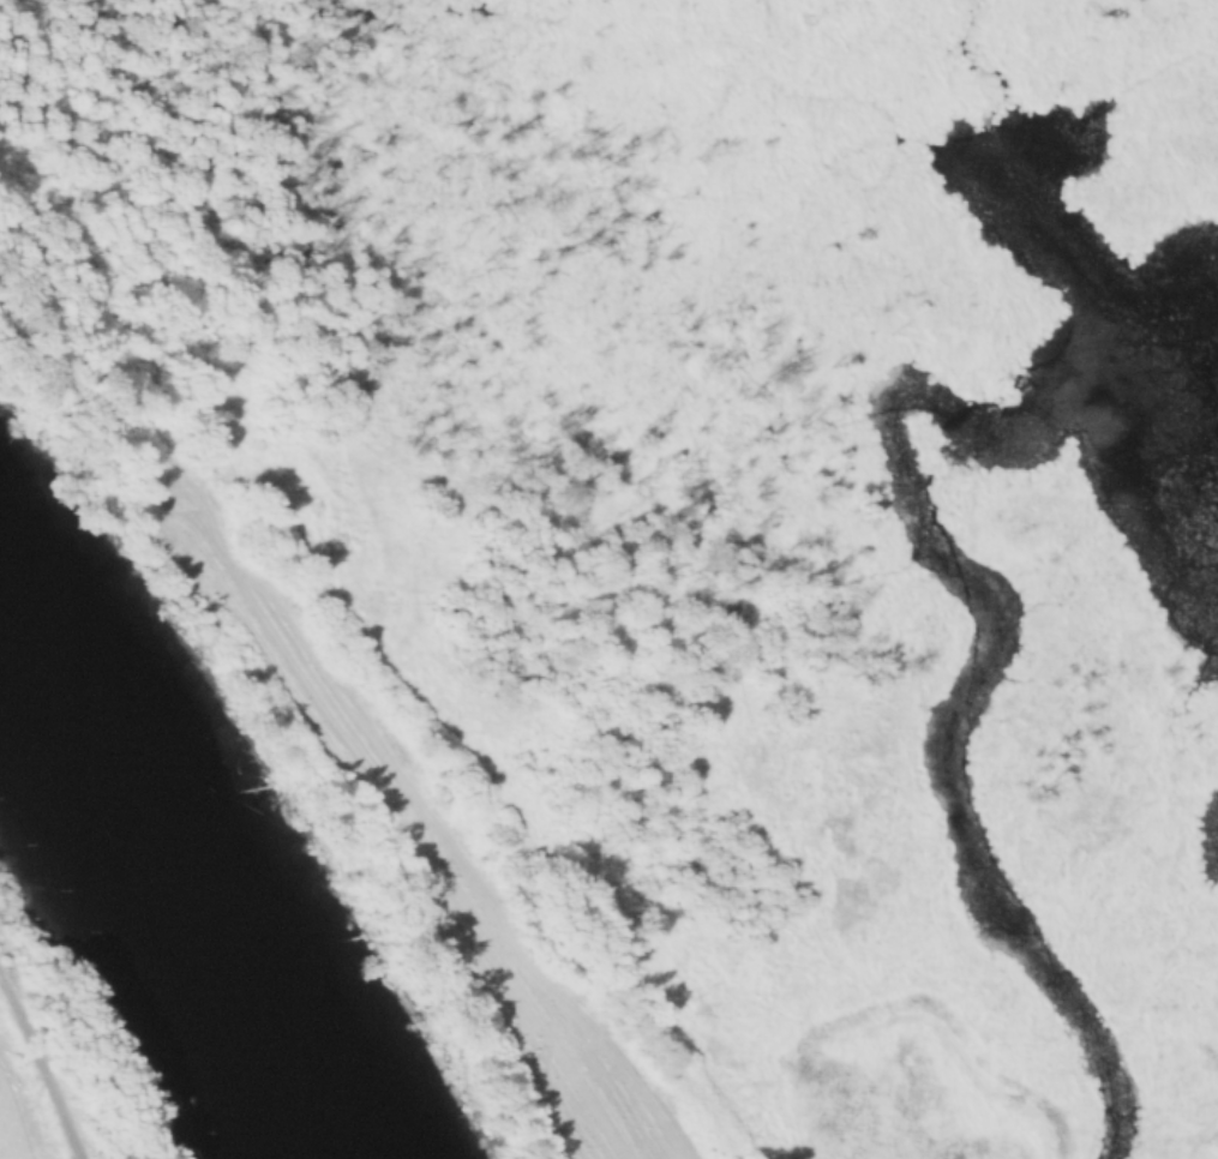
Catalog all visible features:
river: (173, 887)
road: (36, 1076)

